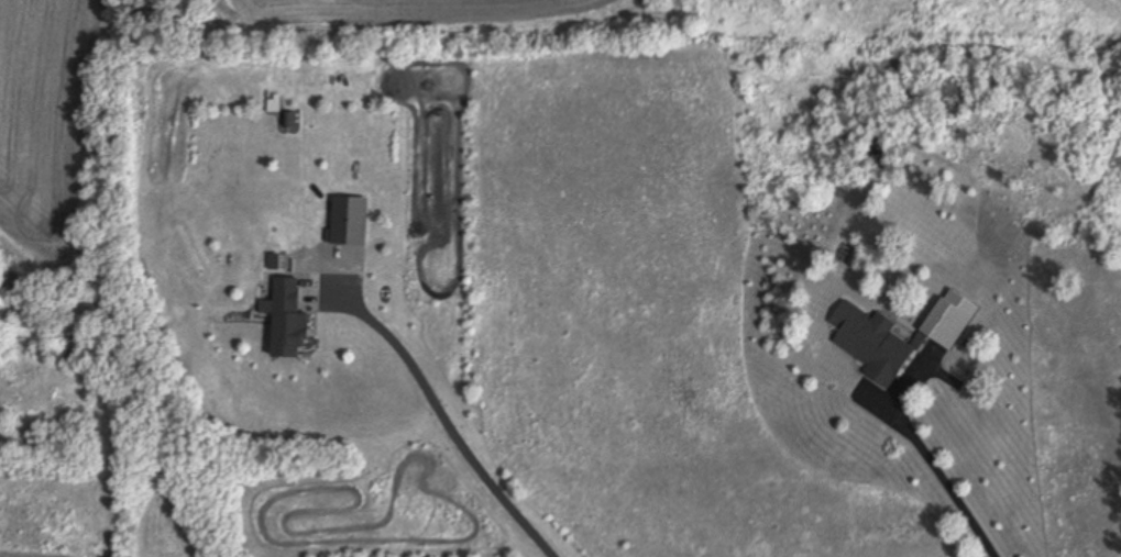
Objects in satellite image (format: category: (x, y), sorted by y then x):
building: (287, 120)
building: (354, 226)
building: (292, 325)
building: (955, 325)
building: (876, 349)
road: (447, 423)
road: (952, 486)

